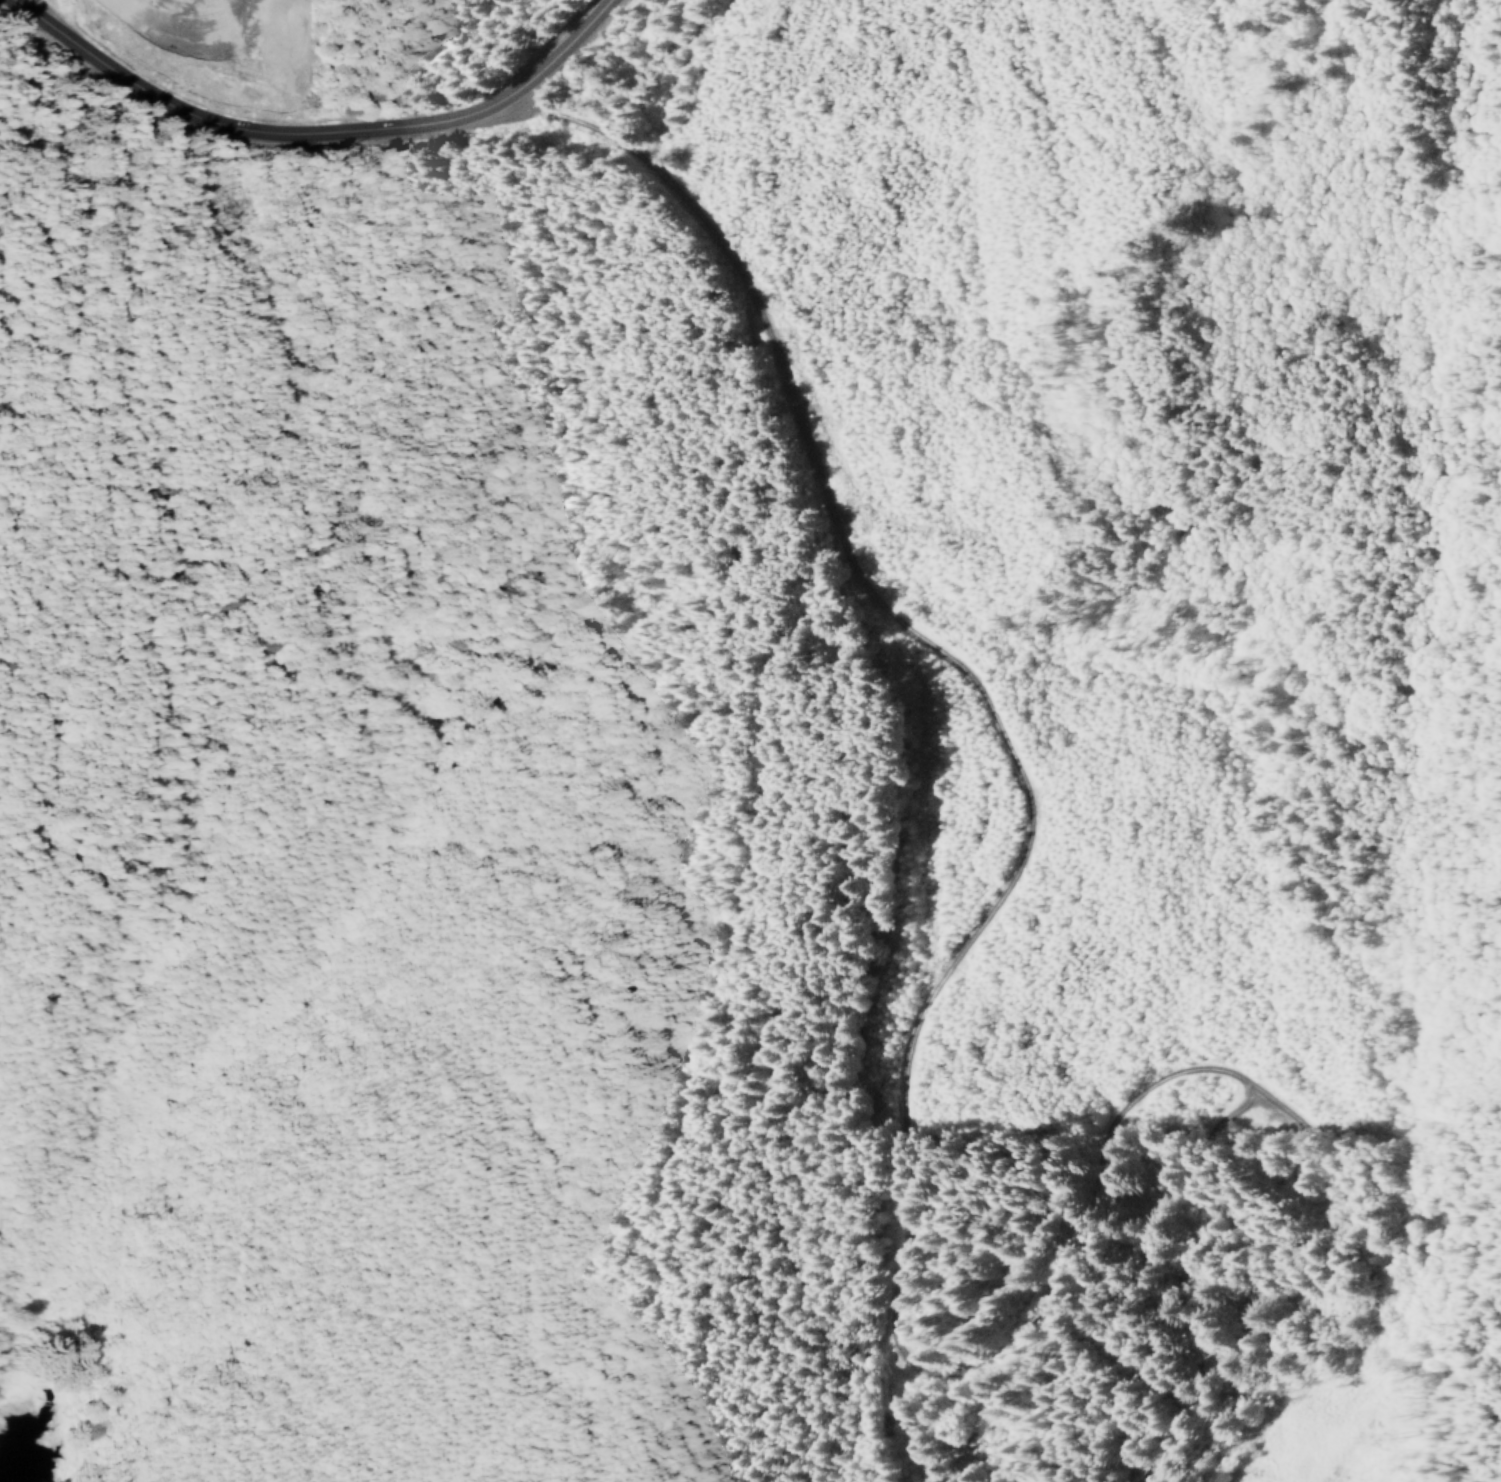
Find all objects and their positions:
road: (308, 131)
road: (890, 1088)
road: (1130, 1266)

